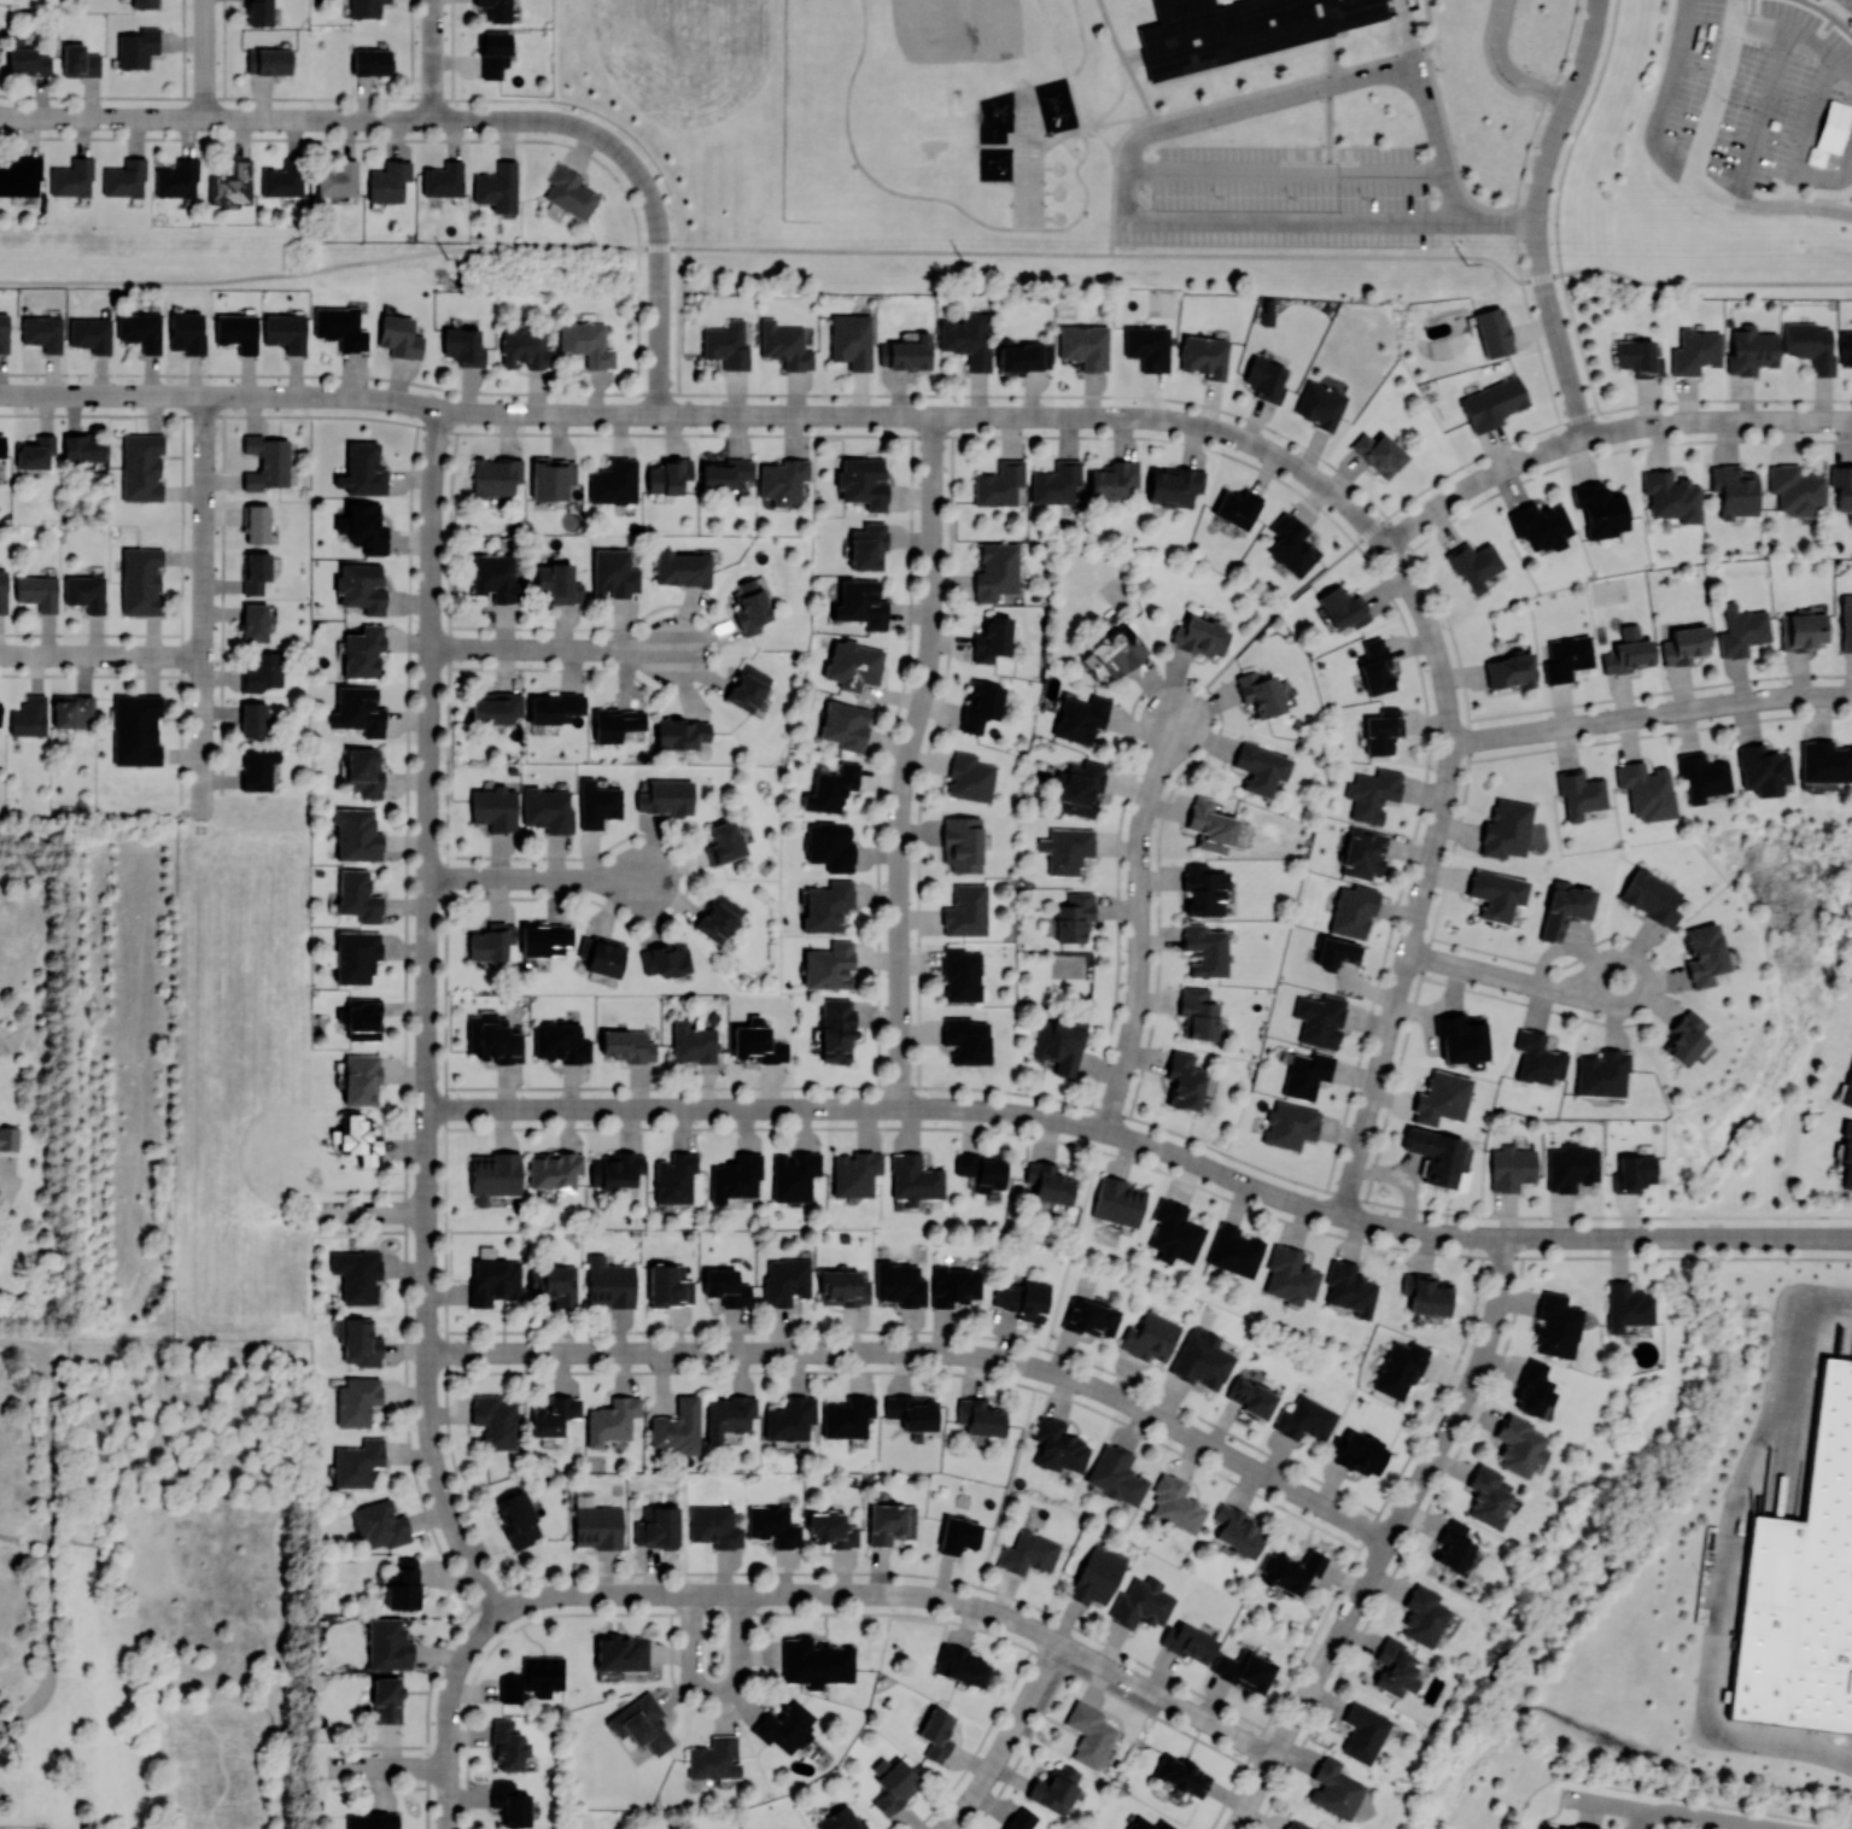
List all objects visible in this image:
building: (144, 4)
building: (364, 7)
building: (496, 8)
building: (259, 11)
road: (1762, 27)
building: (1239, 28)
park: (954, 30)
road: (1432, 31)
road: (1083, 41)
building: (138, 47)
road: (1414, 48)
building: (492, 52)
road: (204, 59)
road: (432, 59)
building: (28, 60)
building: (80, 60)
building: (268, 60)
building: (370, 60)
road: (1063, 64)
road: (1844, 65)
road: (1507, 69)
road: (1284, 83)
road: (1719, 92)
road: (1770, 93)
road: (1245, 106)
road: (1114, 107)
park: (693, 118)
road: (450, 119)
road: (1330, 121)
road: (1117, 122)
road: (1140, 122)
road: (1437, 134)
road: (1100, 136)
road: (1807, 146)
road: (1286, 171)
road: (1677, 171)
building: (21, 175)
building: (71, 177)
building: (124, 177)
building: (177, 177)
building: (282, 179)
building: (337, 179)
building: (443, 179)
building: (388, 181)
building: (232, 183)
building: (497, 187)
building: (569, 192)
park: (1028, 193)
parking lot: (1289, 195)
road: (1451, 197)
road: (934, 198)
road: (1538, 216)
road: (1298, 221)
road: (1497, 223)
road: (930, 250)
power tower: (445, 257)
power tower: (963, 261)
power tower: (1465, 263)
building: (339, 327)
building: (140, 329)
building: (4, 332)
building: (42, 332)
building: (186, 332)
building: (236, 332)
building: (285, 332)
building: (1492, 332)
building: (90, 333)
building: (399, 335)
building: (966, 339)
building: (852, 340)
building: (586, 344)
building: (726, 345)
building: (784, 345)
building: (1083, 345)
building: (1810, 345)
building: (463, 346)
building: (525, 346)
building: (1147, 346)
building: (1845, 346)
building: (1751, 350)
building: (906, 352)
building: (1695, 352)
building: (1203, 356)
building: (1023, 357)
building: (1638, 357)
building: (1266, 379)
road: (553, 391)
road: (221, 396)
building: (1494, 402)
building: (1319, 404)
road: (933, 416)
road: (1603, 433)
building: (1, 445)
building: (83, 446)
road: (1489, 450)
building: (35, 451)
building: (1378, 454)
building: (265, 461)
building: (141, 466)
building: (362, 468)
building: (725, 473)
building: (496, 475)
building: (667, 475)
building: (551, 478)
building: (1112, 479)
building: (783, 480)
building: (614, 481)
building: (863, 481)
building: (1056, 483)
building: (999, 484)
building: (1841, 485)
building: (1174, 486)
building: (1795, 489)
building: (1734, 490)
building: (1670, 496)
building: (1237, 508)
building: (1601, 509)
building: (256, 522)
building: (363, 526)
building: (1540, 526)
building: (1291, 545)
building: (867, 547)
building: (1474, 565)
building: (682, 567)
building: (997, 571)
building: (255, 572)
building: (613, 573)
building: (496, 578)
building: (141, 579)
building: (556, 584)
building: (361, 586)
building: (37, 590)
building: (2, 591)
building: (86, 591)
building: (860, 603)
road: (204, 606)
building: (749, 607)
building: (1343, 607)
building: (255, 621)
building: (1846, 623)
building: (1801, 630)
building: (1741, 631)
building: (1200, 637)
building: (994, 638)
building: (1684, 644)
road: (556, 648)
building: (363, 651)
building: (1628, 651)
building: (1112, 653)
road: (101, 655)
building: (1566, 658)
building: (853, 664)
building: (1374, 666)
building: (263, 671)
building: (1508, 671)
road: (1190, 678)
building: (748, 688)
building: (1260, 693)
building: (980, 705)
building: (496, 707)
building: (554, 707)
building: (71, 709)
building: (358, 709)
road: (1651, 714)
building: (29, 715)
building: (0, 717)
building: (253, 718)
building: (1081, 718)
road: (1468, 721)
building: (845, 725)
building: (136, 729)
building: (1381, 730)
building: (680, 732)
road: (907, 761)
building: (1824, 761)
building: (257, 767)
building: (1260, 767)
building: (1762, 770)
building: (363, 771)
building: (1702, 776)
building: (969, 777)
building: (831, 788)
building: (1080, 788)
building: (1646, 790)
building: (1581, 793)
building: (1372, 794)
building: (666, 797)
building: (597, 804)
building: (493, 808)
building: (548, 810)
building: (1210, 825)
building: (1506, 829)
building: (356, 834)
building: (724, 842)
building: (962, 843)
building: (830, 846)
building: (1067, 849)
building: (1363, 853)
road: (1426, 877)
road: (538, 878)
building: (1203, 889)
building: (1496, 894)
building: (357, 895)
building: (1651, 895)
building: (828, 906)
building: (1565, 907)
building: (966, 911)
building: (1351, 911)
building: (1071, 917)
building: (718, 918)
road: (1139, 922)
building: (544, 939)
building: (491, 941)
building: (1205, 951)
building: (1337, 952)
building: (1702, 953)
building: (356, 954)
building: (601, 956)
building: (665, 959)
building: (829, 965)
building: (962, 974)
road: (1515, 980)
building: (1197, 1012)
building: (361, 1018)
road: (427, 1019)
building: (1320, 1019)
building: (836, 1030)
building: (1461, 1038)
building: (1684, 1038)
building: (493, 1039)
building: (968, 1040)
building: (561, 1042)
building: (693, 1042)
building: (756, 1042)
building: (1058, 1044)
building: (626, 1045)
building: (1537, 1057)
building: (1305, 1074)
building: (1601, 1074)
building: (360, 1077)
building: (1182, 1081)
building: (1848, 1091)
building: (1441, 1098)
road: (893, 1109)
building: (1290, 1124)
building: (2, 1139)
building: (357, 1139)
building: (1435, 1155)
building: (1846, 1159)
building: (1571, 1167)
building: (1511, 1168)
building: (614, 1169)
building: (554, 1170)
building: (981, 1170)
building: (854, 1173)
building: (1632, 1173)
building: (493, 1175)
building: (794, 1175)
building: (735, 1176)
building: (674, 1178)
building: (913, 1179)
building: (1047, 1182)
road: (7, 1188)
building: (1117, 1200)
road: (369, 1211)
building: (1174, 1233)
road: (1501, 1237)
road: (1757, 1238)
building: (1234, 1250)
building: (356, 1274)
building: (1290, 1275)
building: (785, 1280)
building: (493, 1281)
building: (554, 1282)
building: (608, 1282)
building: (899, 1284)
building: (668, 1286)
building: (726, 1286)
building: (954, 1286)
building: (842, 1287)
building: (1349, 1289)
building: (1427, 1293)
building: (1022, 1298)
building: (1626, 1305)
building: (1091, 1317)
building: (1556, 1326)
building: (1150, 1337)
road: (18, 1340)
building: (357, 1340)
road: (52, 1345)
road: (176, 1345)
road: (929, 1352)
building: (1202, 1358)
building: (1398, 1369)
building: (1532, 1387)
building: (1250, 1397)
building: (356, 1399)
building: (912, 1412)
building: (554, 1416)
building: (728, 1416)
building: (847, 1416)
building: (980, 1416)
building: (790, 1418)
building: (1305, 1419)
building: (496, 1420)
building: (610, 1421)
building: (676, 1426)
building: (1519, 1444)
building: (1058, 1447)
building: (1359, 1453)
building: (357, 1462)
building: (1115, 1474)
building: (1486, 1497)
building: (1175, 1504)
building: (518, 1518)
building: (890, 1523)
building: (379, 1525)
building: (773, 1525)
building: (597, 1526)
building: (714, 1526)
building: (656, 1527)
building: (831, 1530)
building: (1237, 1531)
building: (958, 1535)
road: (1389, 1539)
road: (49, 1545)
building: (1453, 1547)
building: (1028, 1553)
road: (1728, 1558)
building: (1291, 1570)
building: (1097, 1577)
building: (403, 1584)
building: (1803, 1587)
road: (904, 1595)
building: (1141, 1603)
building: (1422, 1615)
road: (717, 1640)
building: (1188, 1642)
building: (388, 1644)
building: (620, 1653)
building: (816, 1663)
building: (960, 1665)
building: (1394, 1667)
building: (1244, 1670)
building: (533, 1678)
building: (386, 1700)
road: (449, 1712)
building: (641, 1724)
building: (784, 1726)
building: (1362, 1732)
building: (936, 1734)
building: (1088, 1734)
road: (1007, 1739)
building: (508, 1745)
building: (714, 1759)
road: (385, 1767)
building: (1181, 1775)
building: (892, 1784)
building: (1053, 1788)
building: (1333, 1788)
building: (510, 1804)
road: (1701, 1817)
building: (1021, 1818)
building: (372, 1821)
building: (840, 1821)
building: (1147, 1824)
building: (1296, 1824)
building: (1558, 1827)
building: (1588, 1827)

